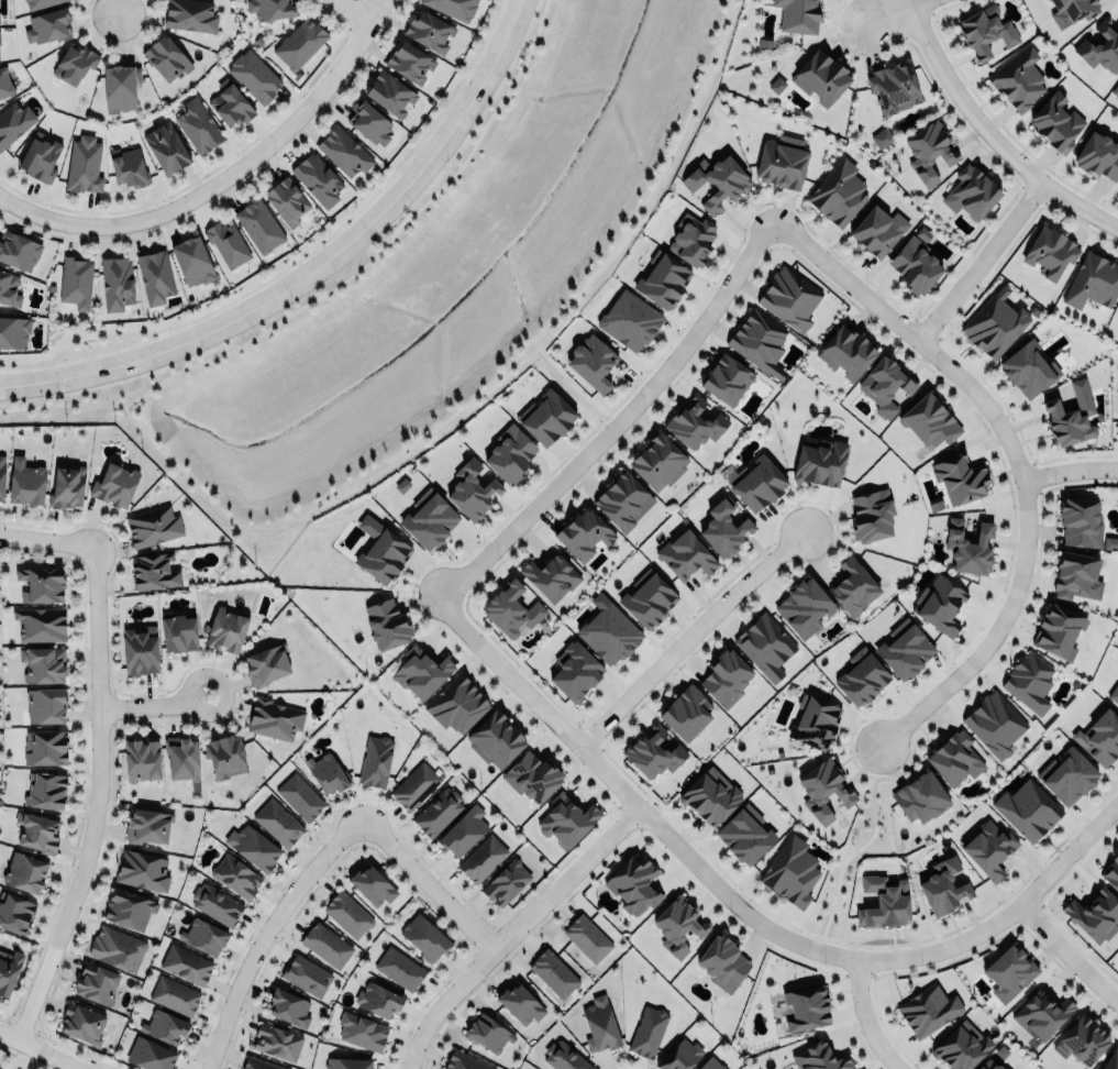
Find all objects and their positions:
building: (38, 3)
road: (118, 3)
road: (372, 3)
building: (455, 7)
building: (269, 8)
building: (1072, 10)
road: (896, 11)
building: (191, 14)
building: (798, 15)
building: (48, 25)
building: (429, 31)
building: (985, 32)
building: (299, 41)
building: (1100, 47)
building: (167, 58)
building: (409, 58)
building: (74, 63)
building: (254, 74)
building: (820, 77)
building: (1018, 79)
building: (4, 82)
building: (892, 85)
building: (120, 87)
building: (1115, 90)
building: (390, 95)
building: (230, 101)
building: (368, 120)
building: (13, 122)
building: (1056, 123)
building: (198, 125)
road: (988, 134)
building: (882, 137)
building: (166, 147)
building: (344, 148)
building: (929, 151)
building: (1099, 155)
building: (40, 157)
building: (783, 162)
building: (85, 164)
building: (129, 165)
road: (224, 178)
building: (317, 178)
building: (717, 180)
building: (971, 192)
building: (838, 194)
building: (286, 197)
building: (258, 222)
building: (877, 230)
building: (691, 239)
building: (228, 243)
building: (18, 250)
building: (1050, 253)
building: (192, 258)
road: (976, 258)
building: (914, 266)
road: (316, 267)
building: (155, 274)
building: (117, 280)
building: (663, 280)
building: (76, 282)
building: (1093, 282)
building: (9, 286)
road: (332, 288)
building: (789, 298)
building: (1117, 310)
building: (1117, 313)
building: (630, 320)
building: (994, 327)
building: (13, 329)
building: (757, 339)
building: (846, 352)
building: (591, 362)
building: (1027, 368)
building: (727, 381)
building: (885, 385)
road: (569, 387)
road: (472, 396)
building: (1071, 417)
building: (546, 418)
building: (930, 421)
building: (1116, 421)
road: (618, 422)
building: (695, 422)
building: (509, 453)
road: (1011, 455)
building: (657, 462)
road: (1066, 463)
building: (820, 464)
building: (1, 473)
building: (960, 477)
building: (26, 482)
building: (756, 482)
building: (114, 483)
building: (67, 486)
building: (472, 491)
building: (624, 500)
building: (872, 513)
building: (429, 519)
building: (1080, 519)
building: (153, 525)
building: (723, 529)
building: (584, 534)
road: (44, 539)
building: (1110, 542)
building: (968, 547)
building: (686, 556)
building: (384, 558)
building: (155, 571)
building: (1075, 573)
building: (550, 576)
building: (41, 584)
building: (853, 584)
building: (647, 600)
building: (938, 604)
building: (804, 605)
building: (511, 610)
building: (386, 621)
building: (40, 624)
building: (225, 628)
building: (179, 629)
building: (1059, 631)
building: (610, 633)
road: (683, 636)
building: (765, 646)
building: (905, 647)
building: (139, 650)
building: (43, 662)
building: (266, 662)
building: (420, 670)
building: (576, 672)
building: (862, 675)
building: (726, 676)
building: (1028, 681)
building: (1114, 694)
building: (455, 702)
building: (45, 705)
road: (150, 710)
building: (686, 710)
building: (274, 717)
building: (815, 719)
building: (994, 721)
building: (1099, 736)
building: (495, 737)
building: (666, 742)
building: (45, 745)
building: (653, 751)
building: (224, 754)
building: (182, 756)
building: (953, 756)
building: (375, 759)
building: (142, 760)
building: (325, 771)
building: (1066, 773)
building: (531, 776)
building: (414, 784)
building: (824, 787)
building: (45, 789)
building: (710, 794)
road: (95, 795)
building: (300, 795)
building: (919, 795)
building: (1026, 808)
building: (438, 812)
building: (566, 818)
building: (277, 823)
building: (147, 826)
building: (37, 829)
building: (462, 829)
building: (745, 835)
building: (252, 846)
road: (859, 847)
building: (988, 849)
building: (481, 858)
building: (142, 869)
building: (792, 870)
building: (1111, 870)
building: (24, 872)
building: (235, 874)
building: (506, 881)
road: (428, 882)
building: (633, 882)
building: (942, 884)
building: (372, 885)
building: (884, 901)
building: (215, 904)
building: (129, 908)
building: (14, 911)
building: (1094, 913)
building: (346, 914)
road: (749, 917)
building: (677, 924)
road: (513, 930)
road: (266, 932)
building: (203, 934)
building: (425, 936)
building: (587, 938)
building: (325, 943)
building: (117, 947)
road: (1061, 954)
building: (722, 961)
building: (186, 965)
building: (399, 967)
building: (8, 968)
building: (1009, 972)
building: (553, 973)
building: (306, 976)
building: (96, 981)
building: (174, 993)
building: (378, 999)
building: (520, 1002)
building: (807, 1005)
building: (288, 1007)
building: (927, 1007)
building: (1040, 1012)
road: (865, 1016)
building: (81, 1023)
building: (599, 1023)
building: (165, 1026)
building: (647, 1031)
building: (362, 1032)
building: (487, 1032)
building: (1081, 1038)
building: (277, 1042)
building: (961, 1045)
road: (42, 1049)
building: (150, 1054)
building: (679, 1055)
building: (820, 1056)
building: (564, 1057)
building: (994, 1058)
building: (464, 1060)
building: (1110, 1060)
building: (259, 1062)
building: (347, 1064)
building: (710, 1064)

